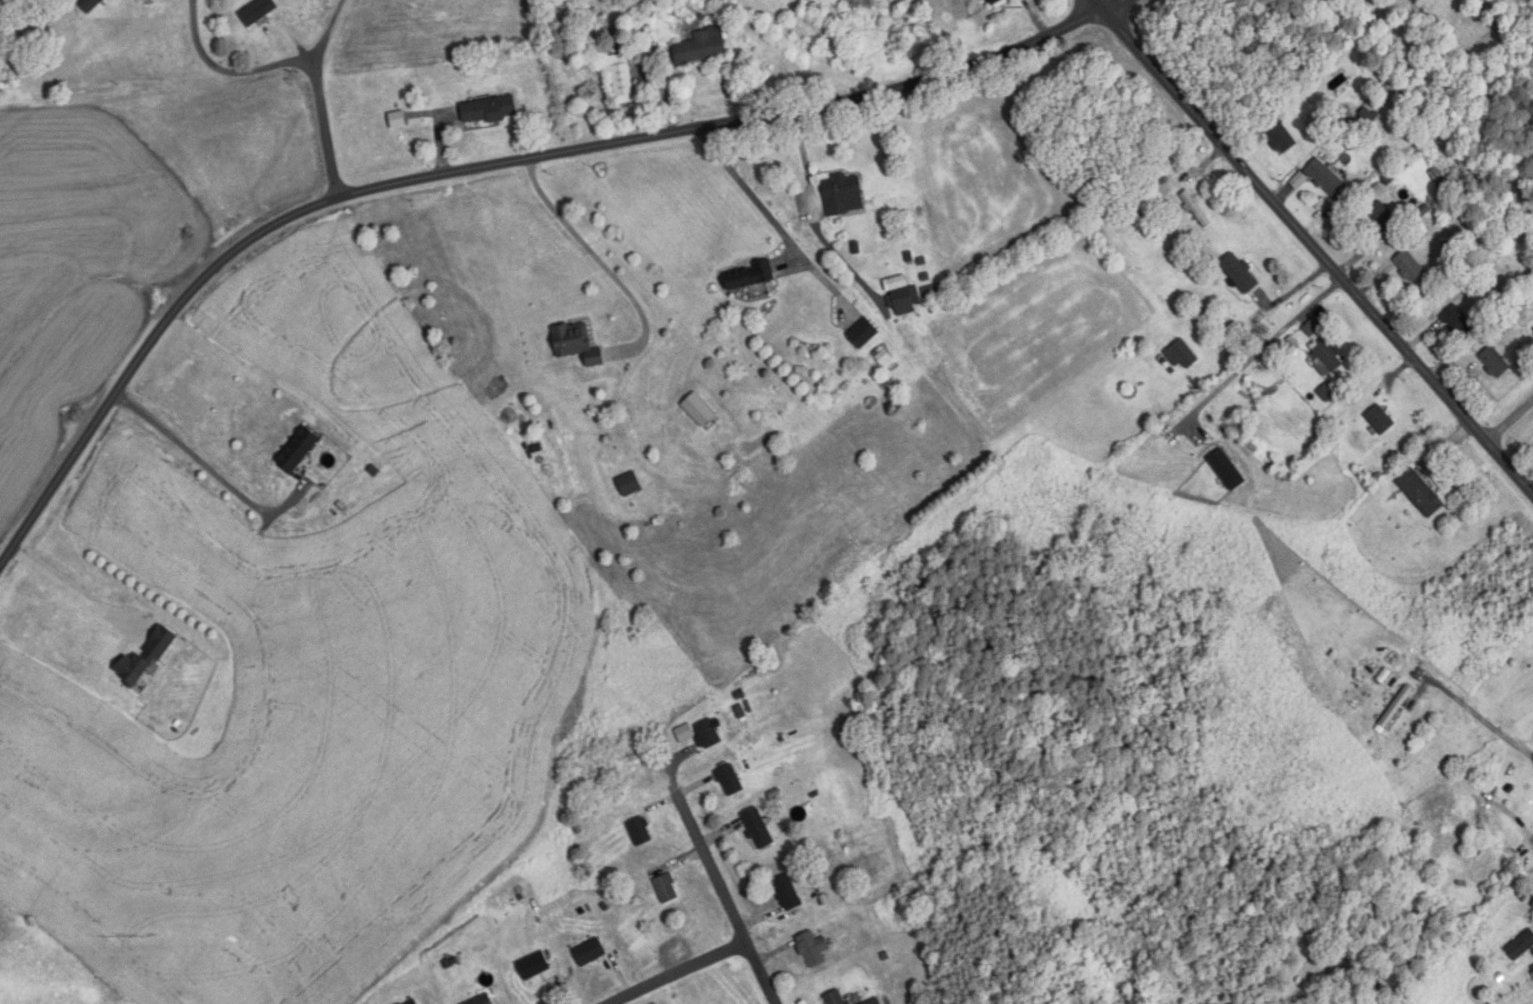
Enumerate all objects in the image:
building: (998, 2)
building: (89, 5)
building: (258, 11)
road: (328, 35)
building: (702, 47)
road: (289, 68)
building: (622, 76)
building: (5, 80)
building: (489, 110)
building: (1365, 119)
building: (399, 120)
building: (1281, 137)
road: (488, 173)
building: (1325, 178)
building: (843, 196)
building: (1197, 210)
building: (1383, 218)
road: (1313, 246)
road: (590, 261)
building: (1410, 266)
building: (1240, 274)
building: (749, 277)
building: (935, 294)
building: (906, 300)
building: (1457, 321)
building: (1311, 328)
building: (863, 334)
building: (572, 340)
road: (1259, 351)
building: (1181, 355)
building: (1326, 357)
building: (594, 362)
building: (1495, 362)
building: (1328, 393)
road: (1509, 418)
building: (1380, 420)
building: (297, 450)
road: (201, 474)
building: (629, 485)
building: (1421, 494)
road: (81, 596)
building: (134, 668)
building: (1397, 708)
road: (1482, 719)
building: (709, 735)
building: (730, 781)
building: (1453, 820)
building: (758, 830)
building: (640, 832)
road: (715, 871)
building: (667, 889)
building: (787, 894)
building: (813, 950)
building: (589, 954)
building: (533, 967)
road: (683, 973)
building: (835, 998)
building: (482, 1001)
building: (413, 1002)
building: (875, 1002)

